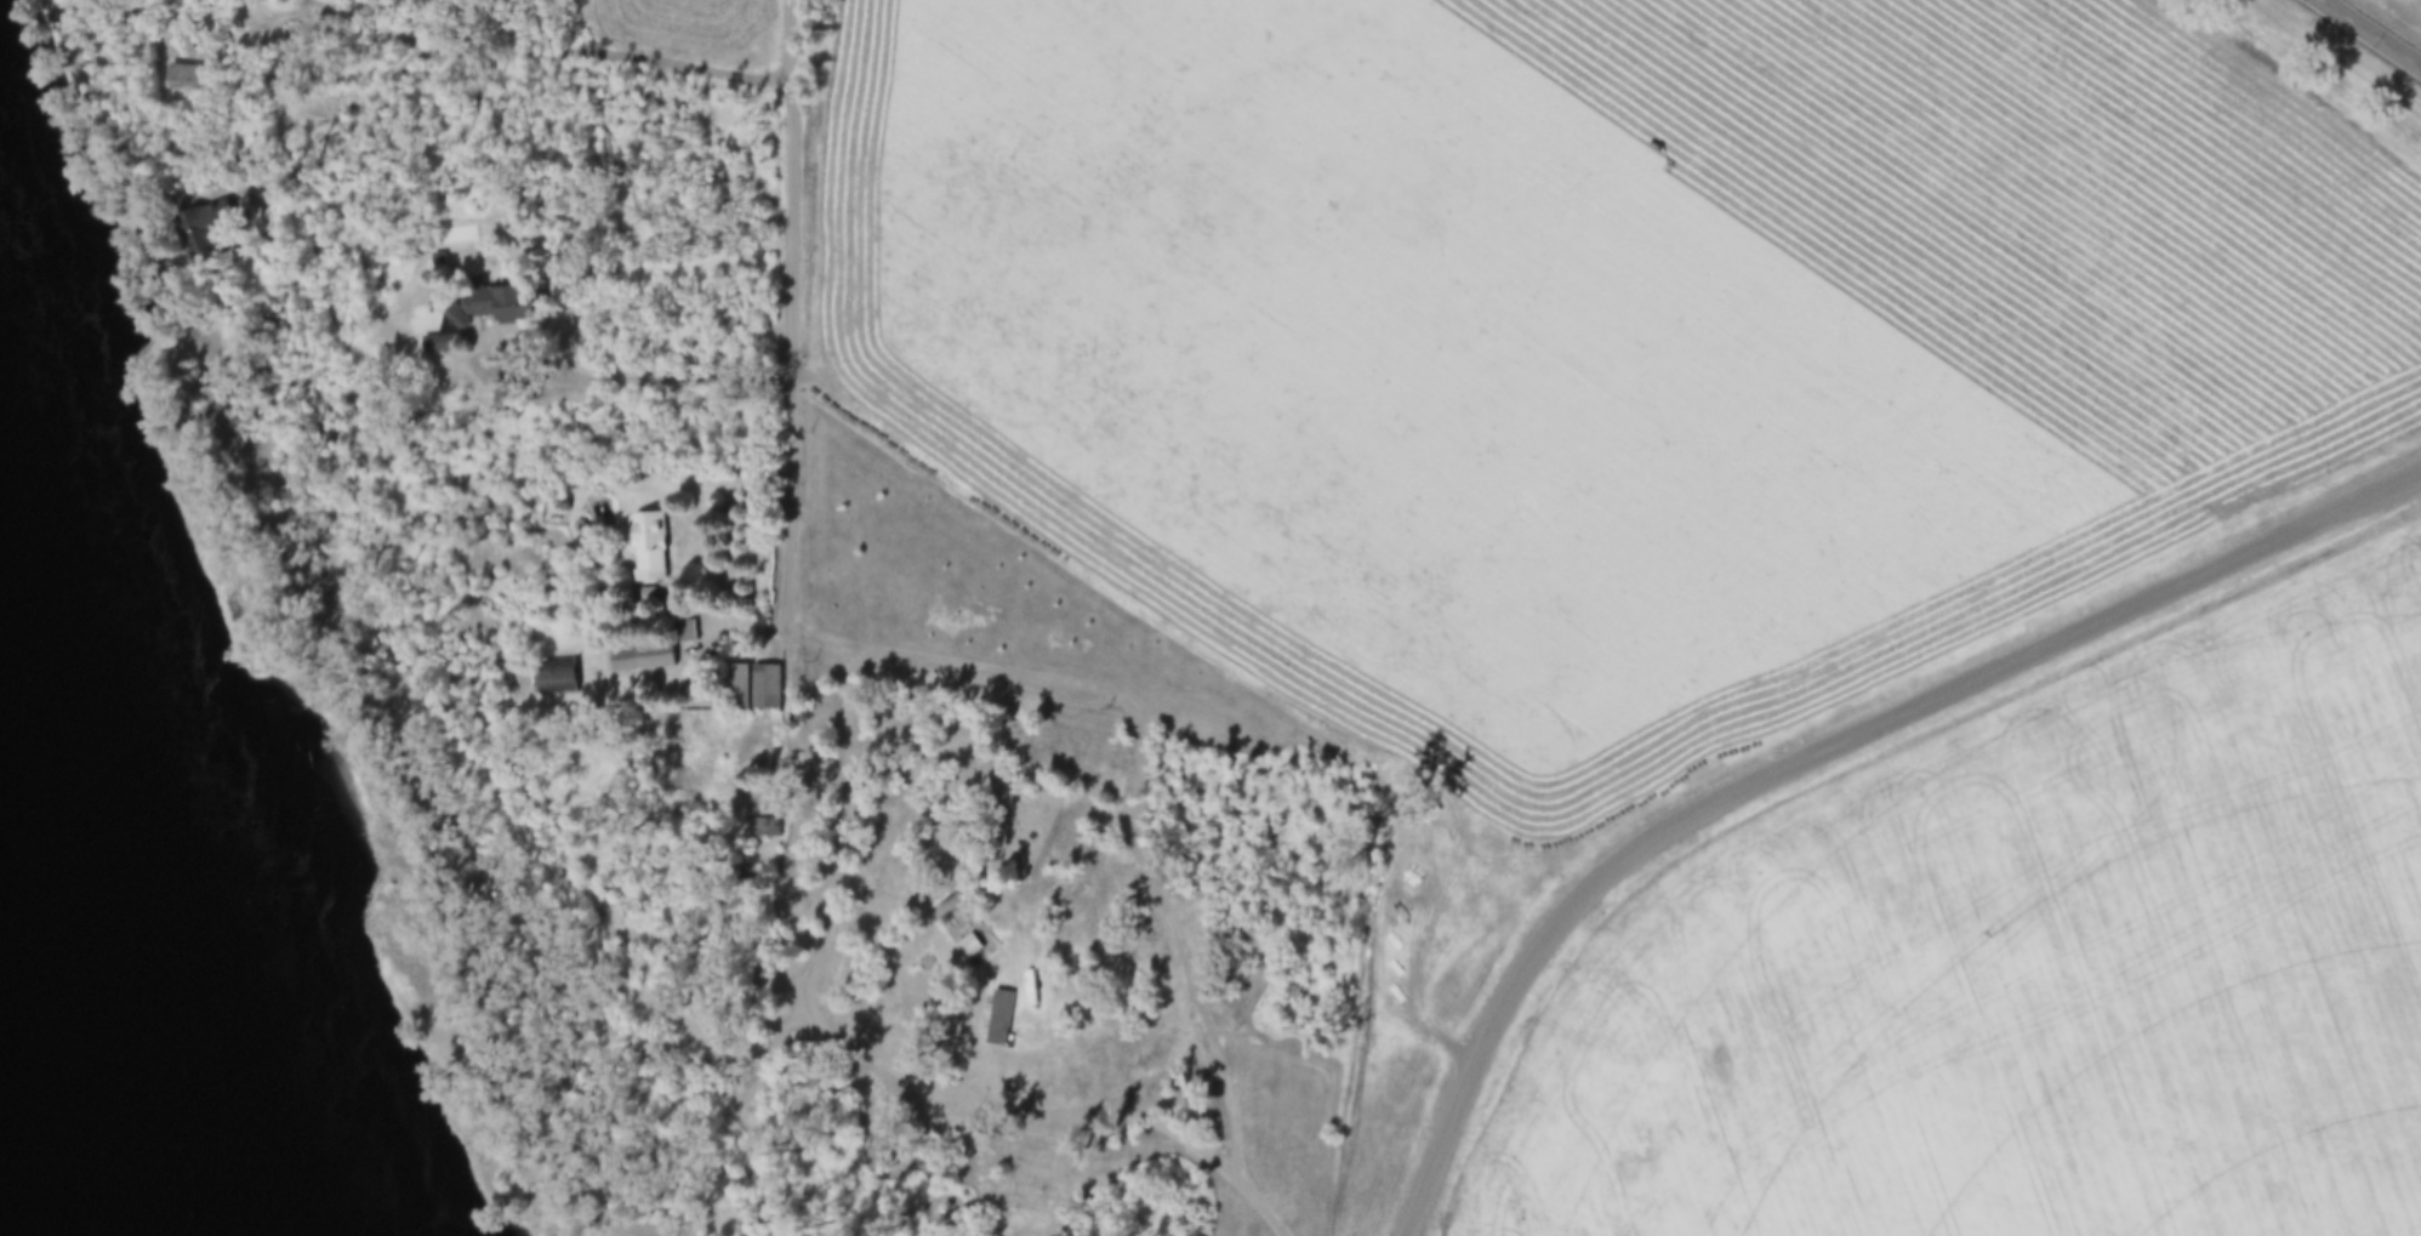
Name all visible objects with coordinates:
road: (2360, 38)
building: (182, 79)
building: (492, 303)
road: (791, 318)
building: (648, 549)
building: (650, 653)
building: (739, 689)
building: (765, 690)
road: (1807, 756)
building: (682, 758)
road: (1123, 781)
building: (762, 831)
building: (968, 949)
park: (932, 962)
building: (999, 1020)
river: (82, 1033)
road: (871, 1058)

